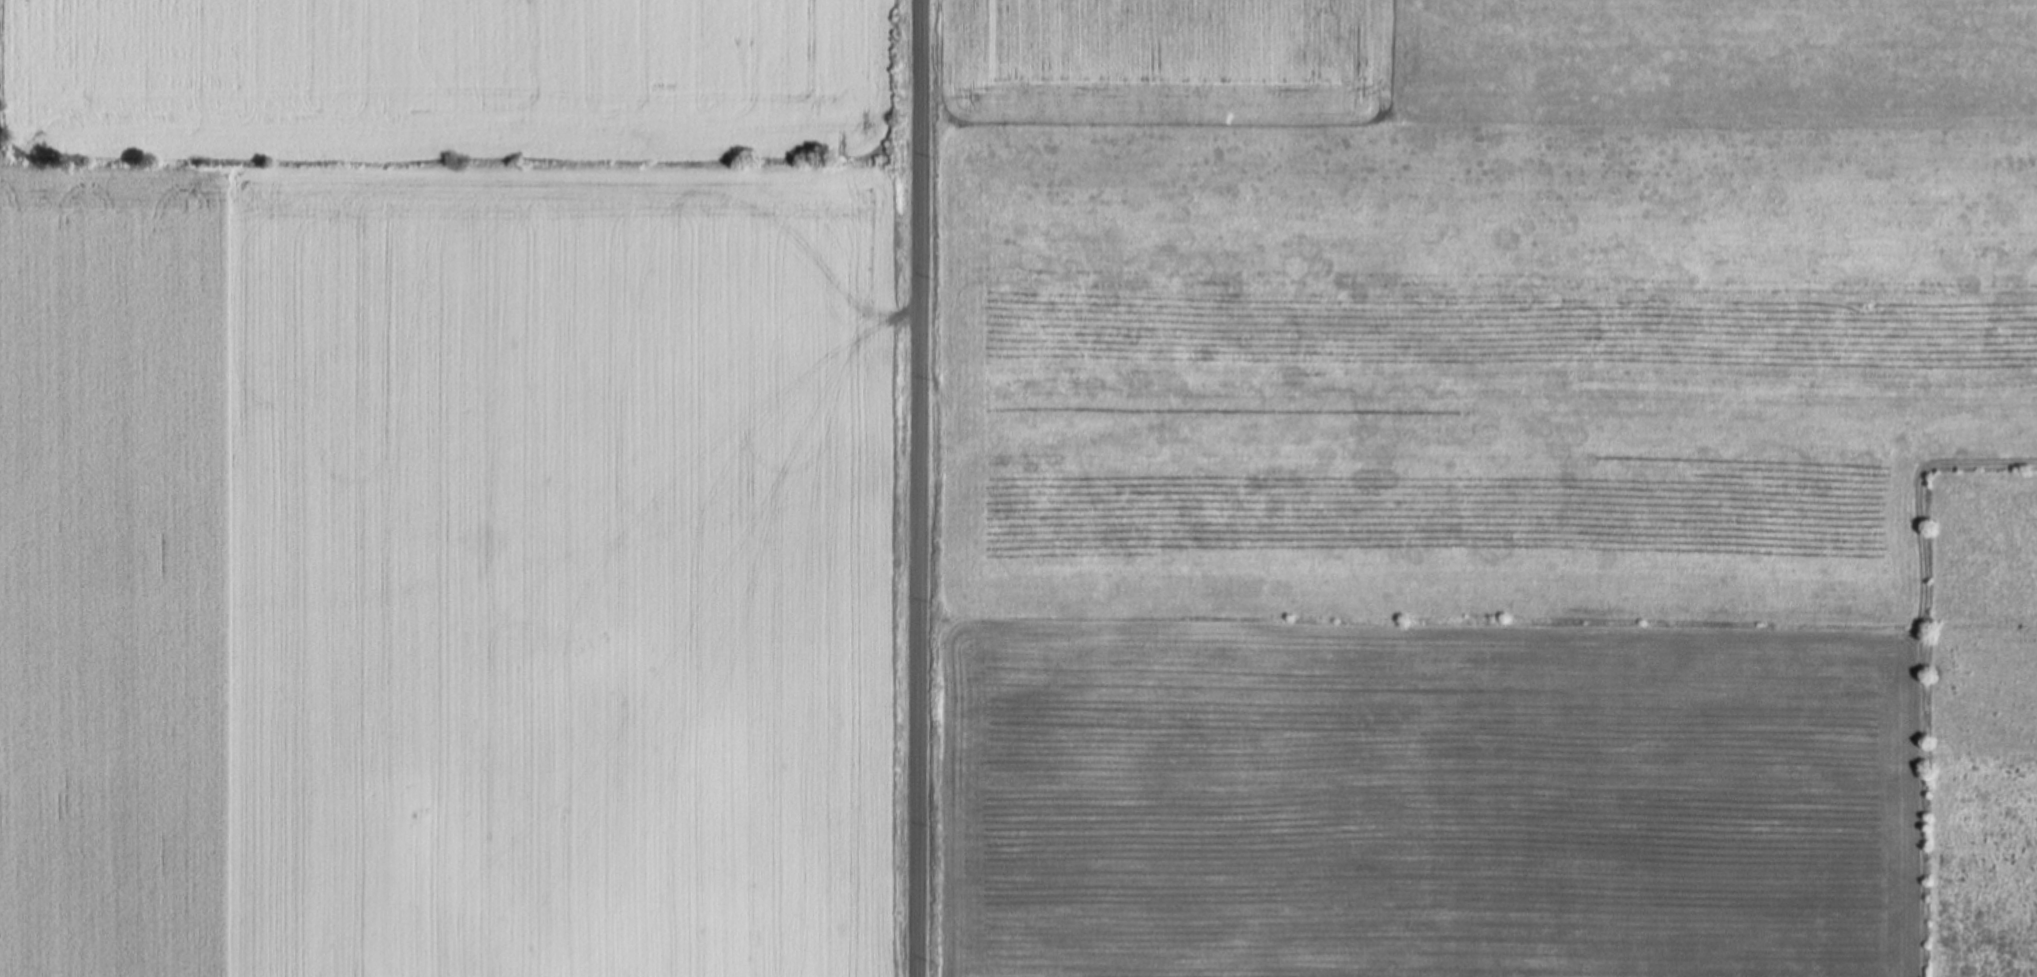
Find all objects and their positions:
road: (917, 488)

